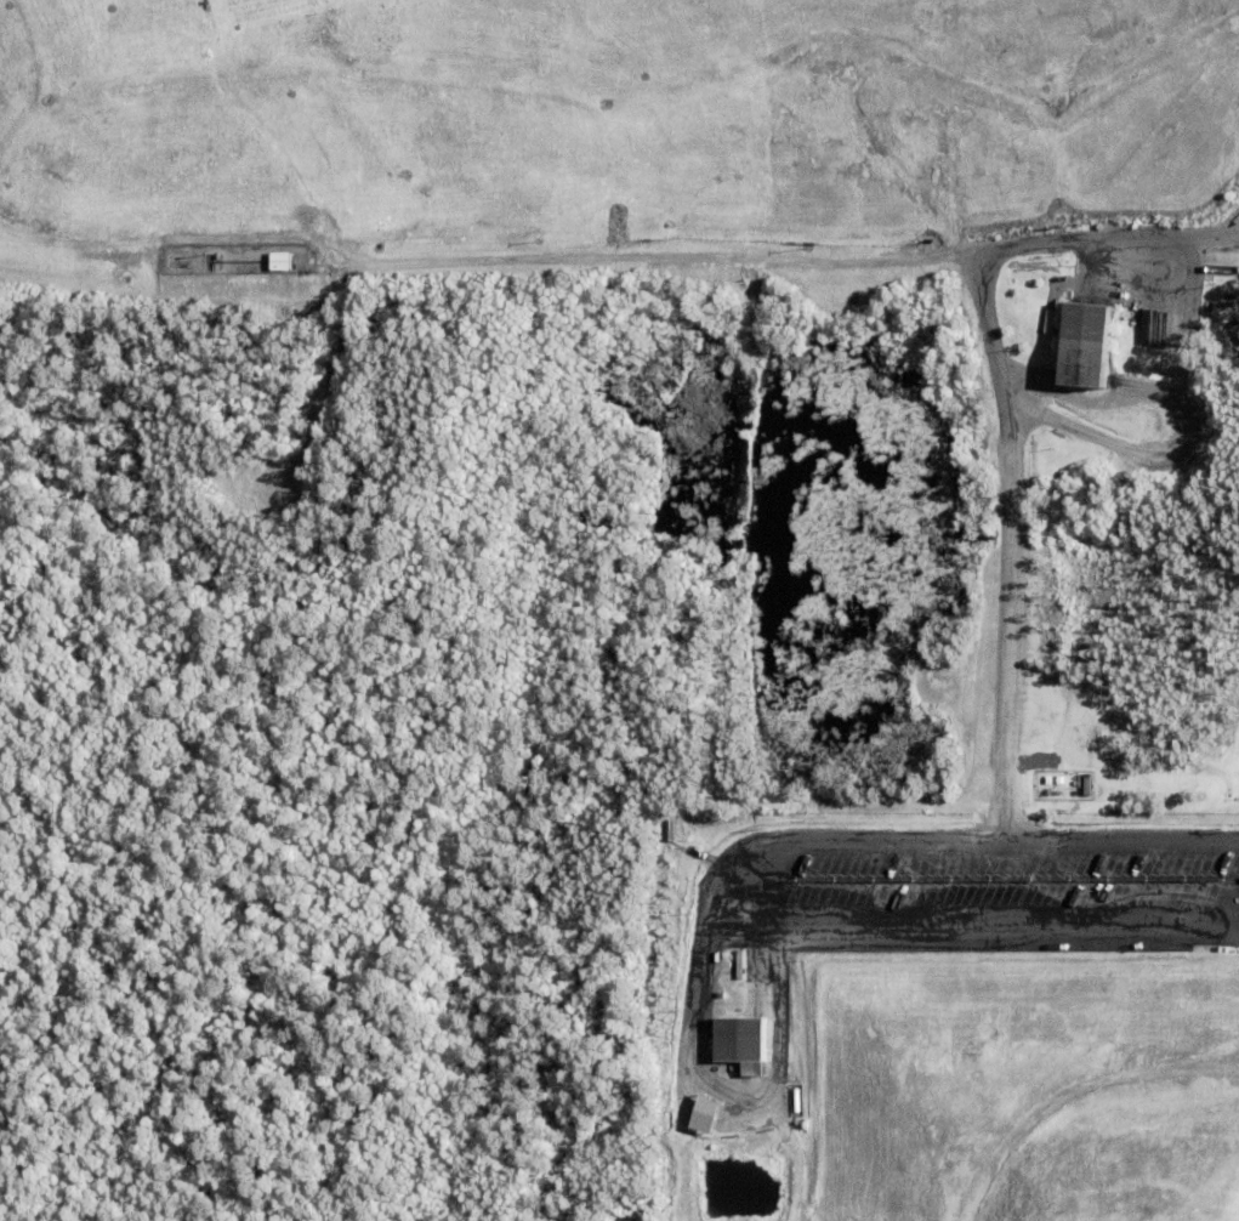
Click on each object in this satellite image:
road: (1101, 237)
road: (1232, 240)
road: (636, 256)
building: (280, 263)
building: (1127, 339)
building: (1086, 351)
road: (1007, 543)
road: (738, 881)
road: (1217, 884)
road: (978, 886)
building: (738, 1046)
building: (704, 1115)

